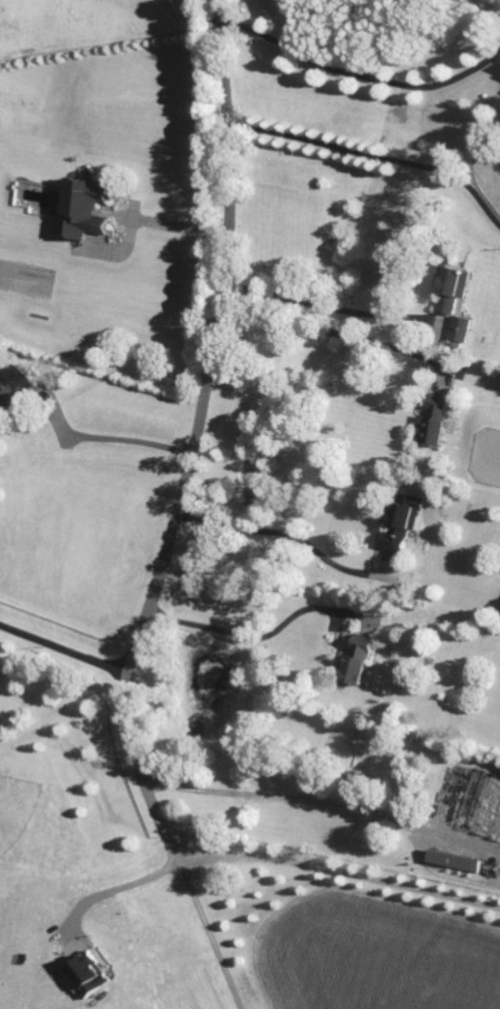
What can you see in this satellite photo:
road: (359, 75)
road: (373, 154)
building: (83, 209)
road: (179, 229)
building: (452, 290)
road: (324, 303)
building: (458, 329)
road: (335, 334)
road: (216, 351)
building: (12, 387)
building: (432, 421)
road: (112, 437)
road: (283, 534)
road: (244, 638)
road: (65, 645)
building: (356, 658)
road: (287, 797)
road: (173, 852)
building: (452, 860)
road: (338, 864)
road: (113, 890)
building: (86, 976)

